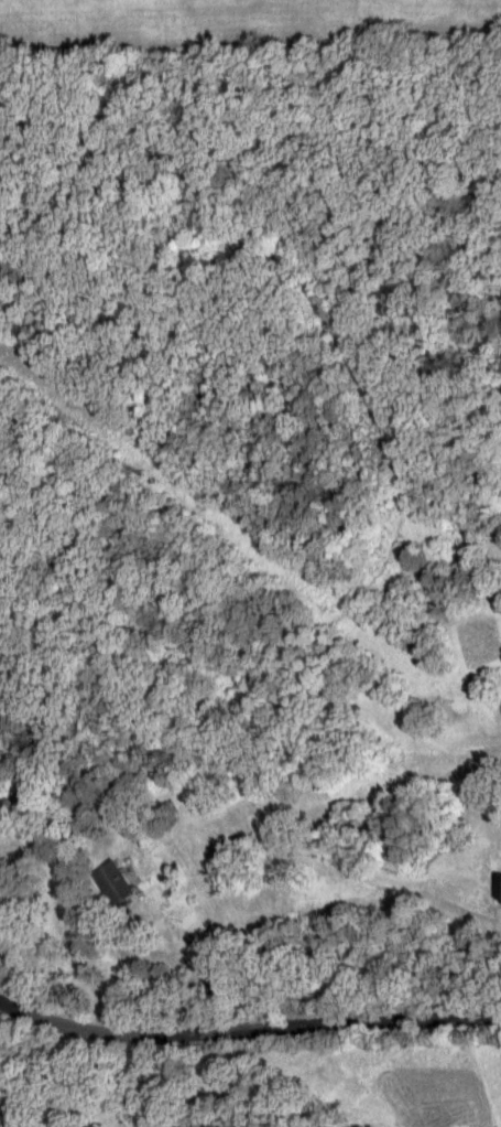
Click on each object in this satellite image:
building: (115, 885)
road: (97, 972)
road: (246, 1027)

